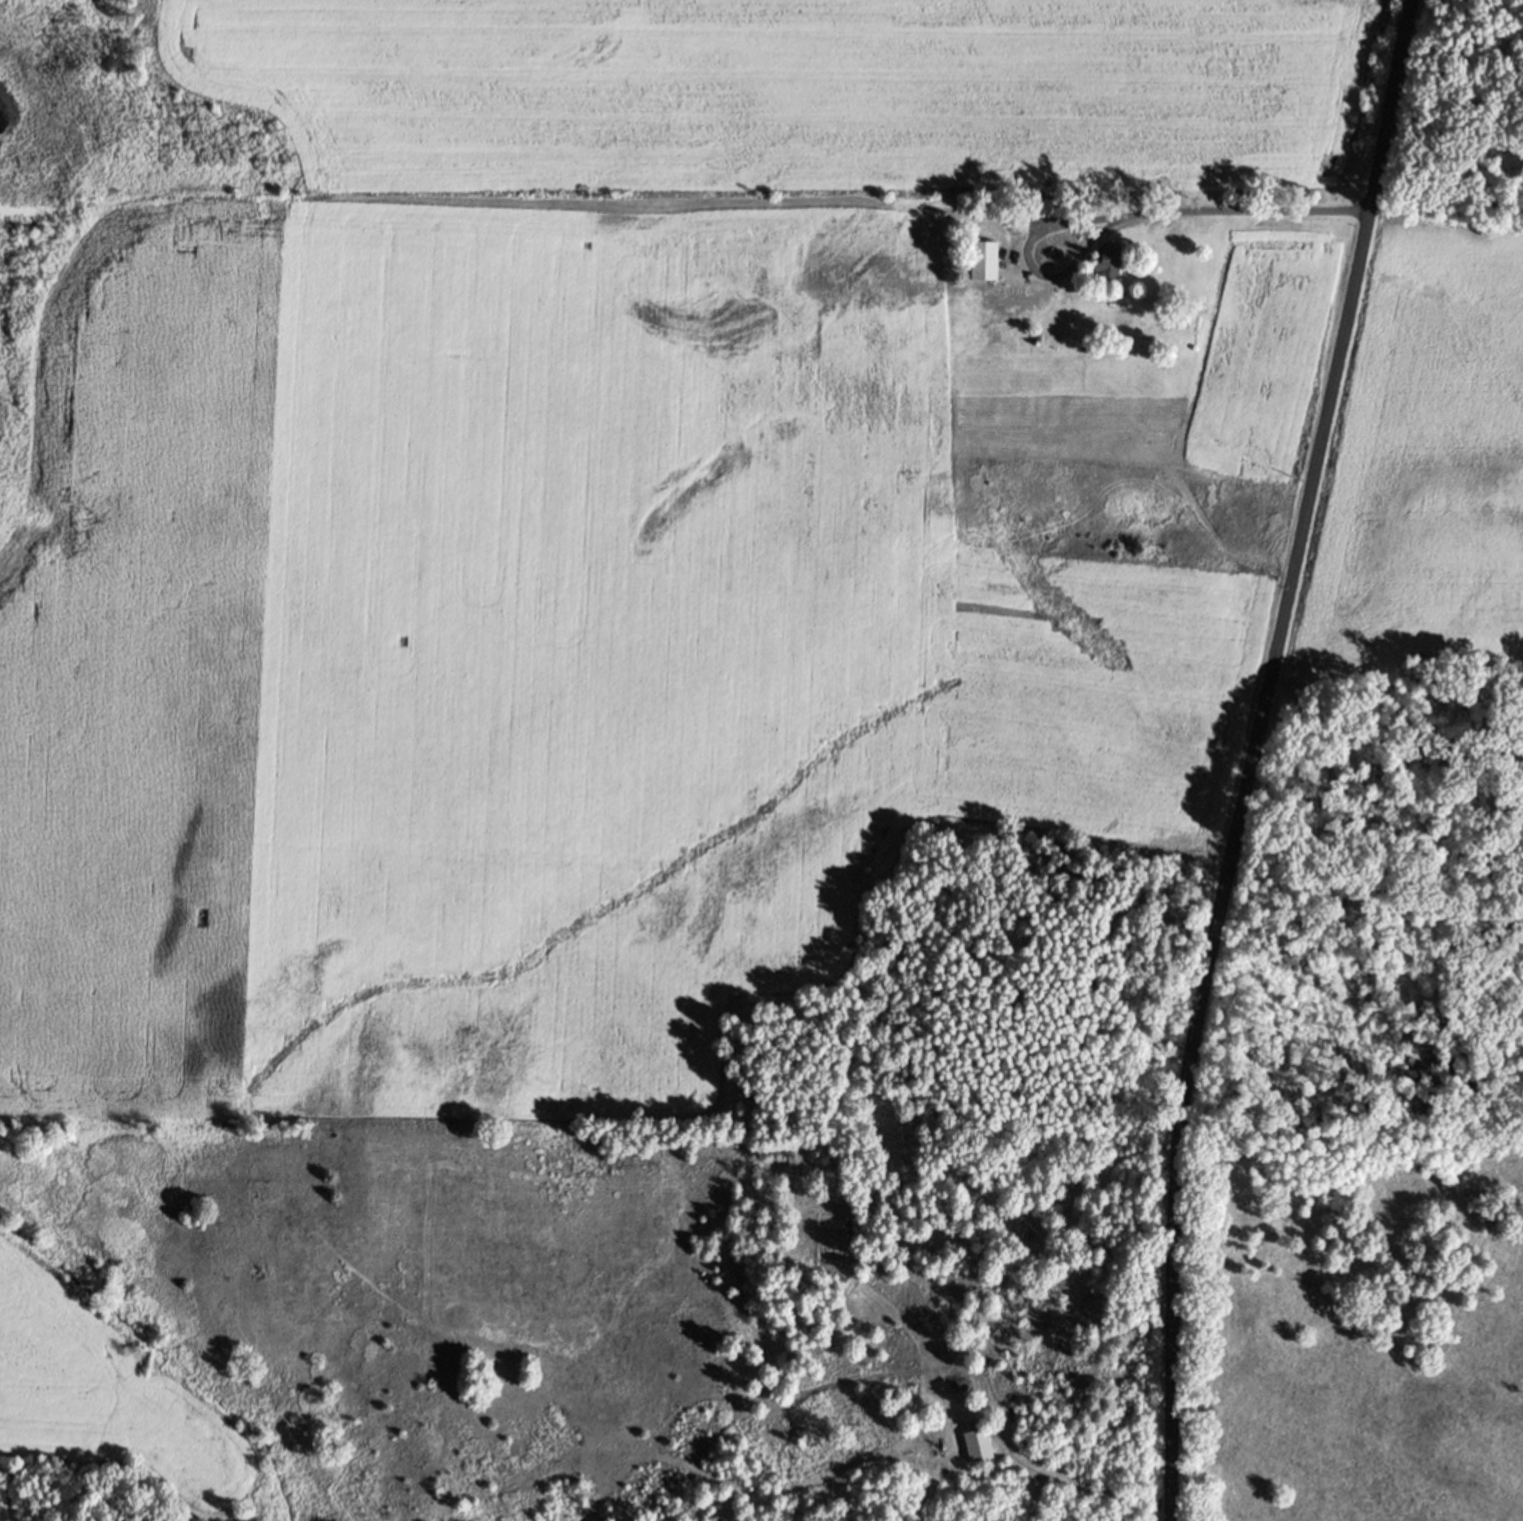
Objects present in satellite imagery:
building: (1042, 218)
building: (982, 271)
building: (1106, 271)
road: (1248, 755)
building: (976, 1453)

